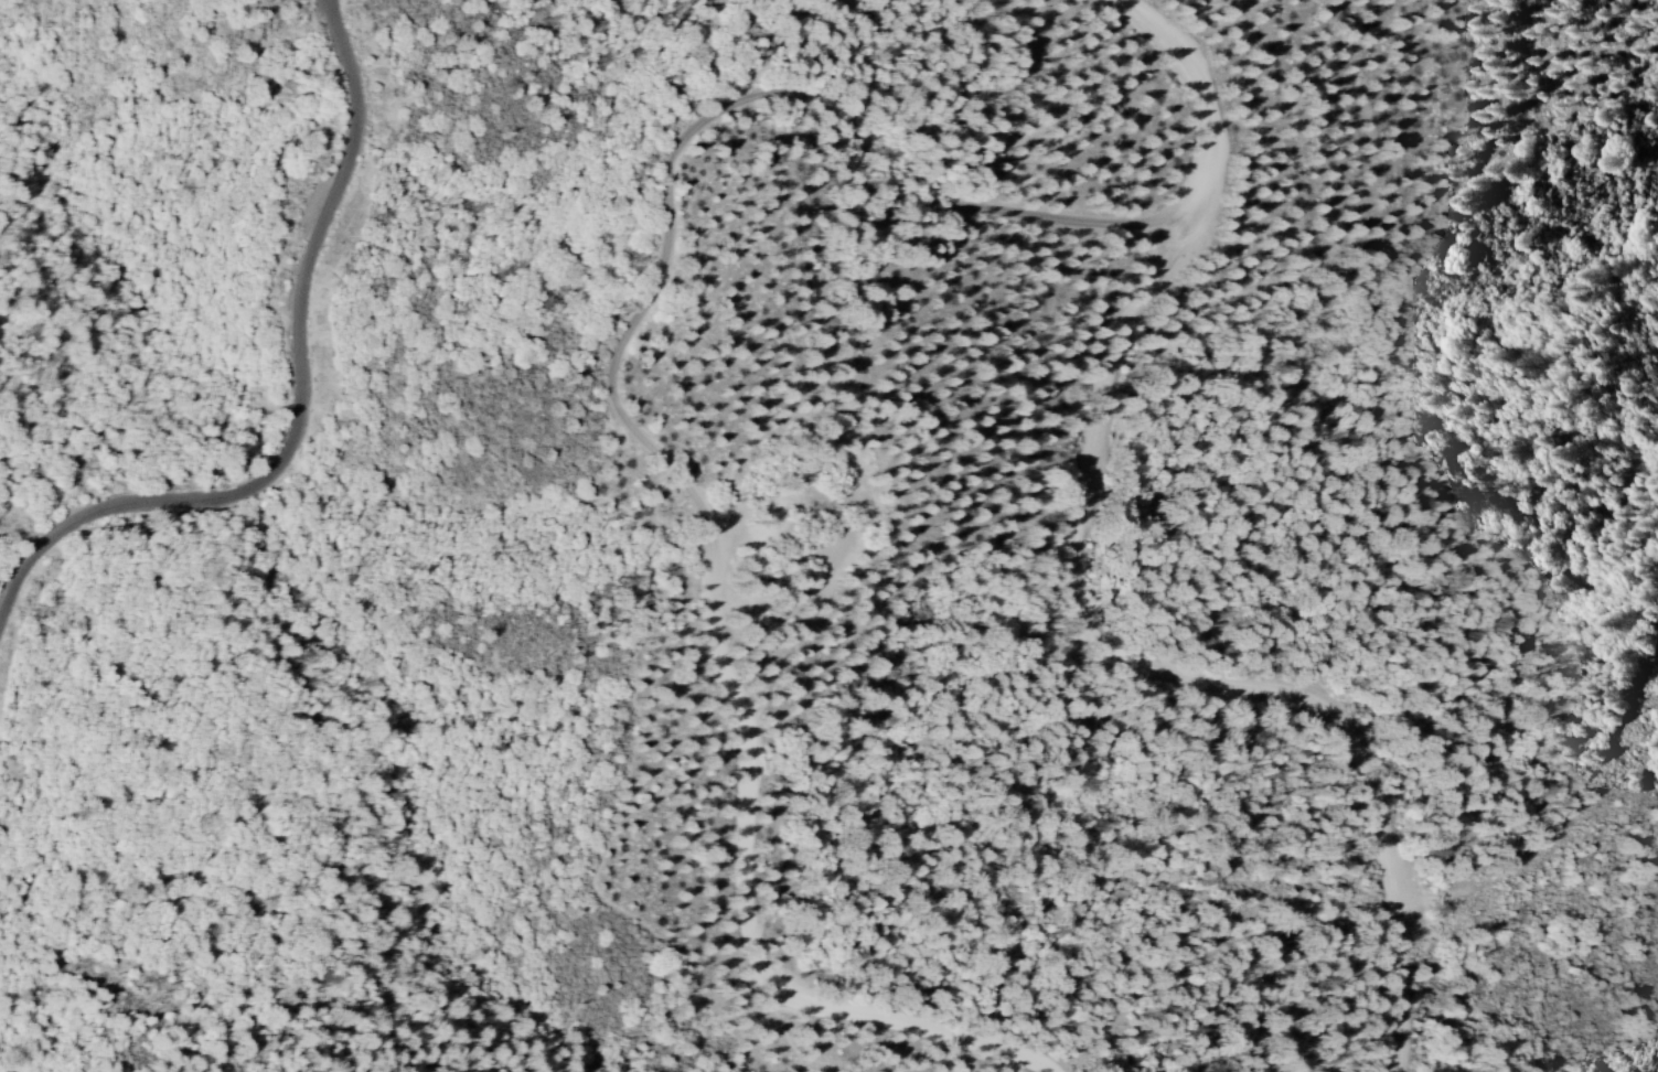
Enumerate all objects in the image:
road: (638, 315)
road: (306, 404)
road: (1179, 672)

